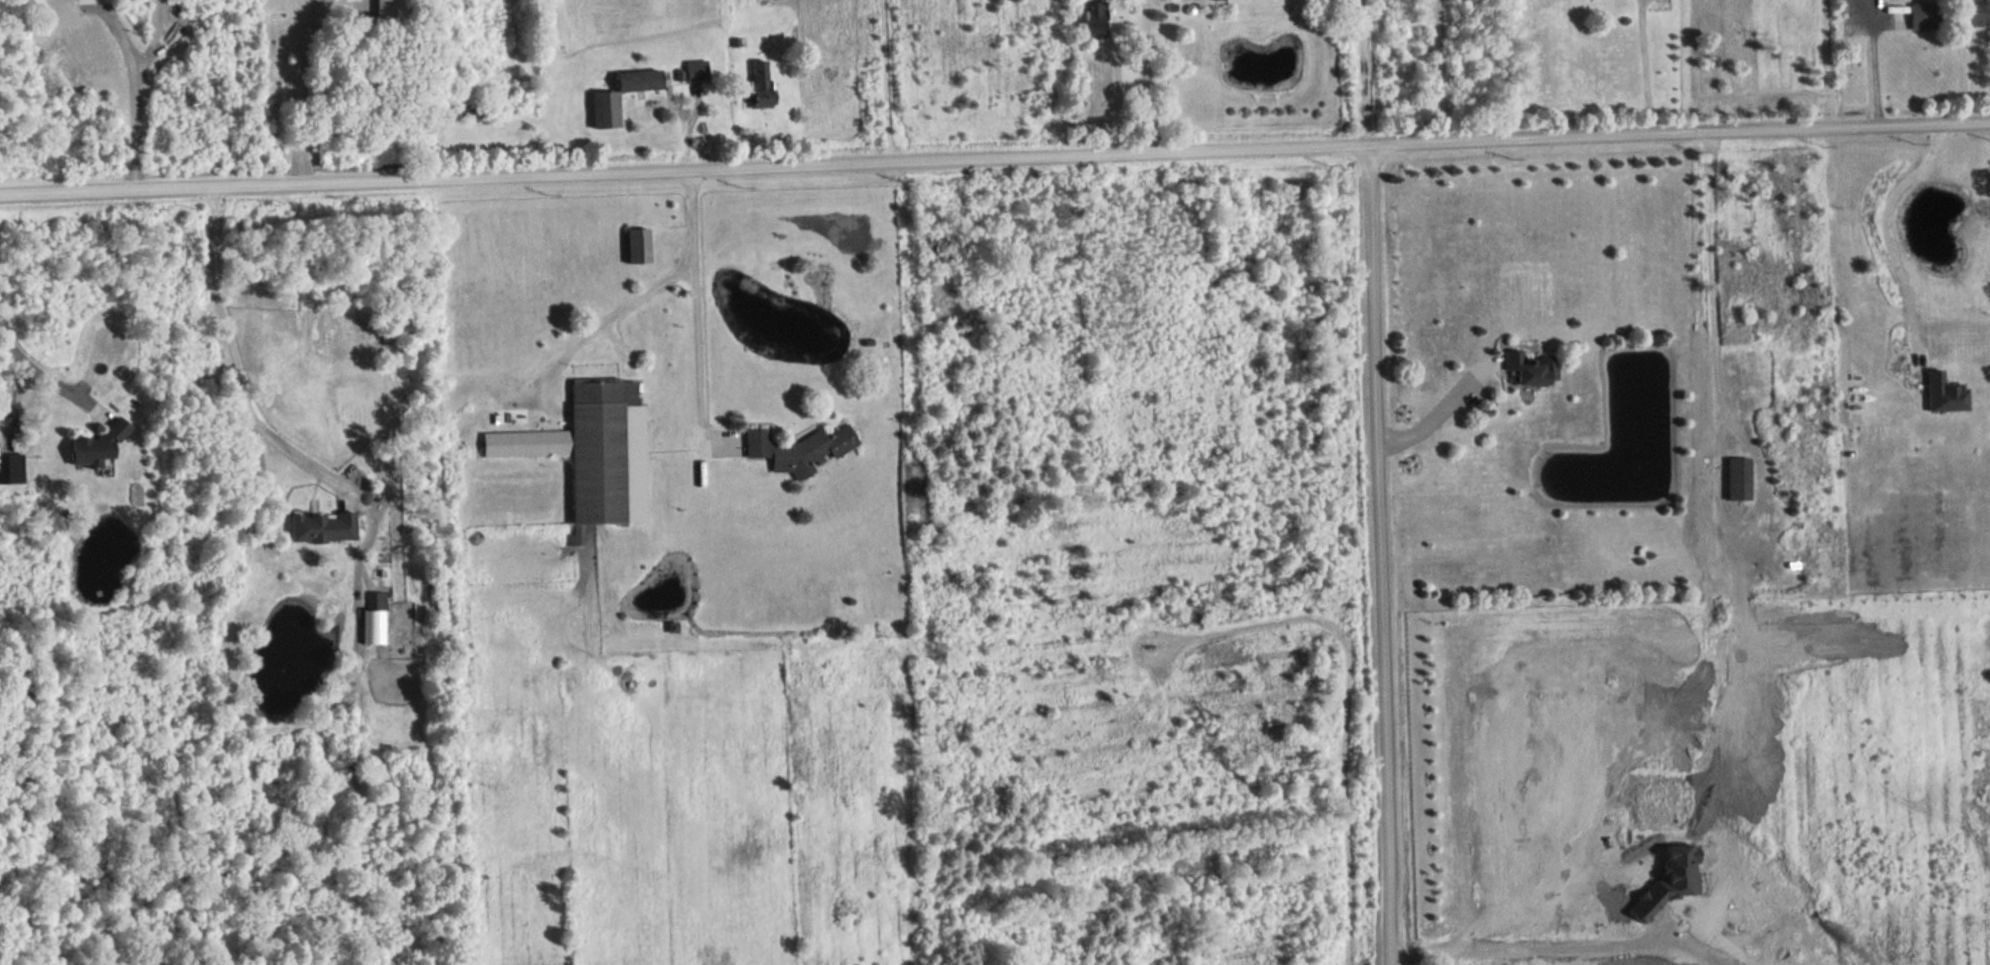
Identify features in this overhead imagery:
building: (1972, 13)
building: (1923, 16)
building: (1094, 20)
road: (1869, 62)
road: (1639, 67)
building: (695, 70)
road: (1363, 73)
road: (890, 82)
building: (759, 84)
road: (1144, 85)
road: (299, 90)
road: (132, 91)
building: (603, 110)
road: (1678, 133)
road: (683, 172)
road: (1883, 218)
building: (637, 247)
road: (691, 307)
road: (1700, 315)
road: (602, 327)
road: (230, 356)
road: (38, 367)
building: (1531, 369)
building: (1945, 394)
road: (1431, 421)
building: (95, 448)
building: (798, 451)
building: (591, 455)
building: (1738, 480)
building: (321, 528)
road: (1373, 555)
building: (375, 602)

